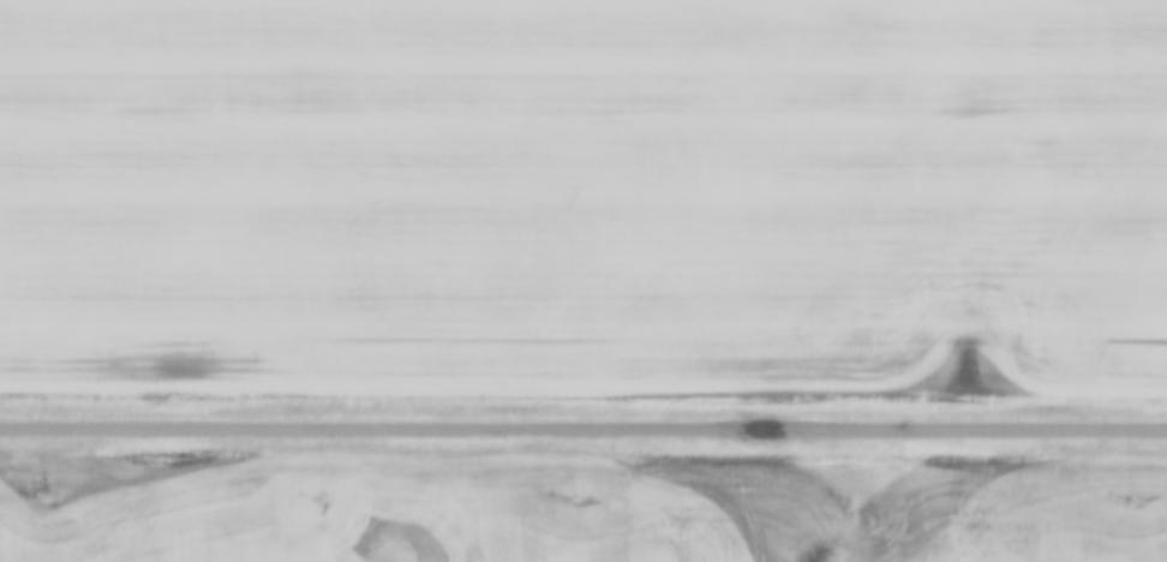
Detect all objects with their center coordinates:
road: (583, 426)

